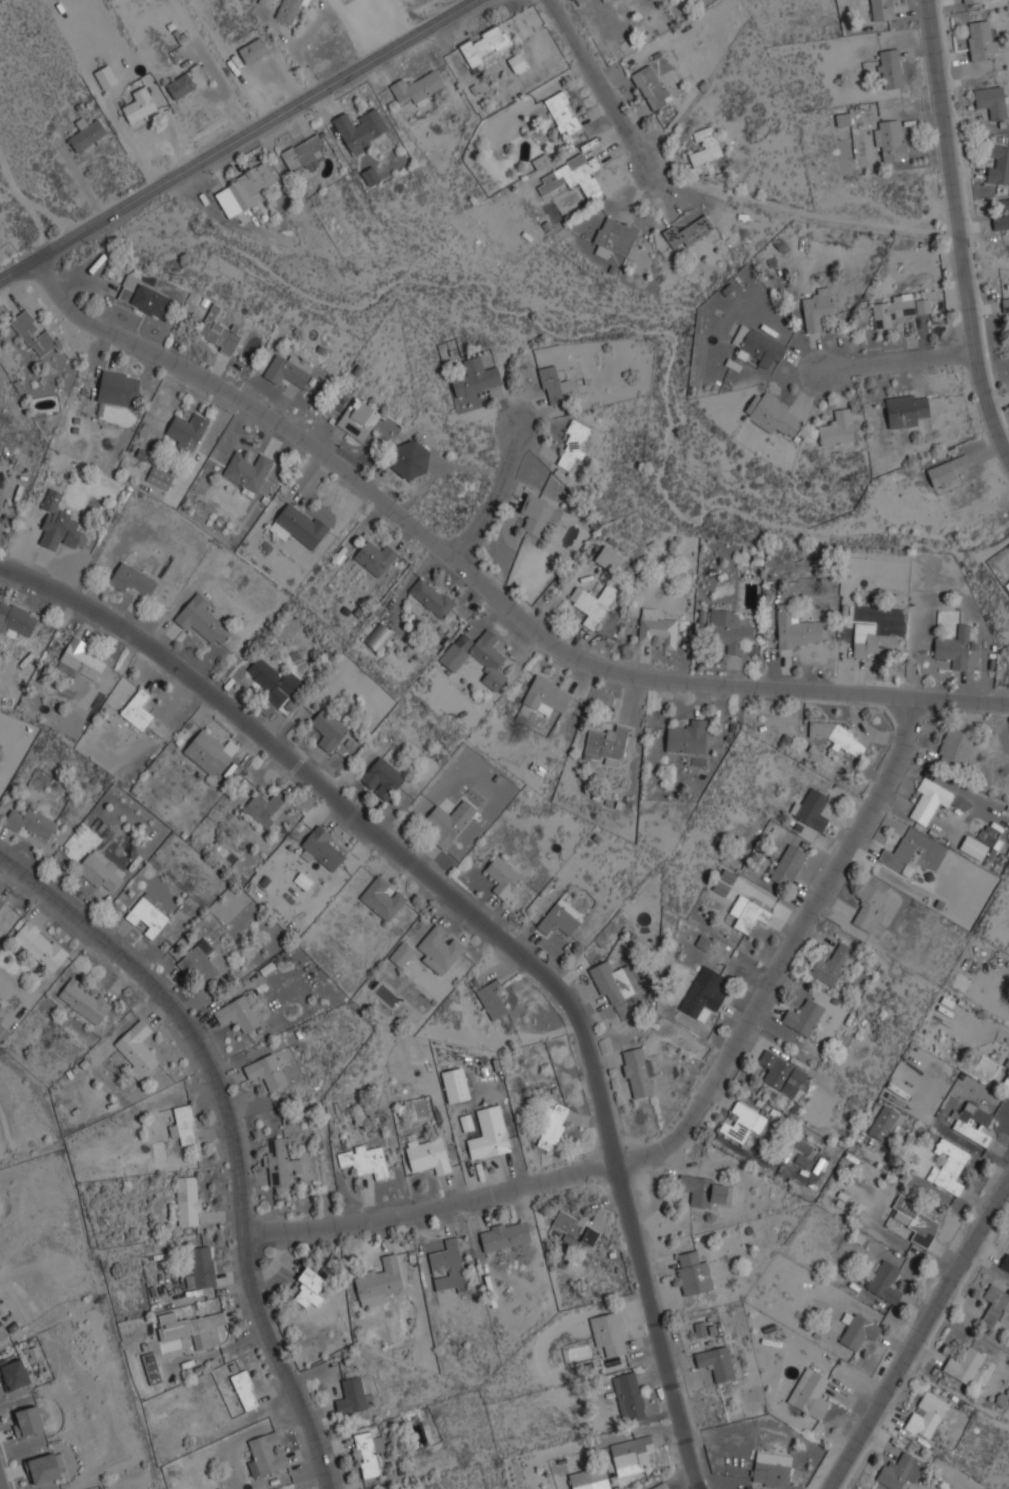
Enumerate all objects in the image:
building: (970, 0)
building: (265, 2)
building: (291, 9)
building: (883, 9)
building: (982, 40)
building: (484, 44)
building: (254, 49)
building: (518, 61)
building: (891, 68)
building: (106, 76)
road: (598, 84)
building: (181, 85)
building: (418, 87)
building: (652, 87)
building: (993, 101)
building: (140, 104)
building: (564, 113)
building: (842, 119)
building: (362, 128)
building: (87, 133)
building: (891, 139)
road: (235, 140)
building: (706, 146)
building: (305, 153)
building: (998, 164)
building: (370, 175)
building: (572, 176)
building: (245, 189)
building: (1002, 217)
building: (689, 231)
road: (956, 233)
building: (617, 237)
building: (145, 297)
building: (1005, 304)
building: (819, 307)
building: (898, 309)
building: (220, 331)
building: (34, 332)
building: (759, 346)
road: (896, 360)
building: (289, 370)
building: (477, 377)
building: (553, 385)
building: (119, 387)
building: (907, 409)
building: (773, 414)
building: (359, 419)
building: (838, 428)
building: (187, 431)
building: (573, 445)
building: (410, 460)
building: (247, 471)
building: (948, 471)
building: (160, 478)
road: (492, 494)
building: (540, 513)
building: (58, 523)
building: (298, 525)
building: (375, 557)
building: (608, 558)
building: (133, 579)
road: (482, 583)
building: (432, 597)
building: (593, 603)
building: (203, 619)
building: (17, 620)
building: (657, 628)
building: (797, 628)
building: (730, 630)
building: (379, 637)
building: (872, 640)
building: (956, 647)
building: (480, 658)
building: (82, 659)
building: (67, 668)
building: (273, 685)
building: (546, 695)
building: (139, 709)
building: (328, 729)
building: (836, 736)
building: (688, 737)
building: (609, 744)
building: (955, 750)
building: (210, 752)
building: (383, 778)
building: (934, 801)
building: (264, 807)
building: (812, 808)
building: (32, 822)
building: (449, 822)
building: (981, 843)
building: (321, 849)
building: (899, 855)
building: (789, 865)
building: (101, 870)
building: (503, 877)
building: (303, 880)
building: (724, 882)
building: (383, 898)
building: (1, 906)
building: (869, 908)
building: (748, 913)
building: (148, 916)
building: (559, 921)
road: (490, 930)
building: (704, 942)
building: (40, 945)
building: (440, 949)
building: (402, 954)
building: (201, 963)
building: (834, 965)
building: (611, 982)
building: (705, 992)
building: (492, 999)
building: (84, 1001)
building: (238, 1013)
building: (804, 1017)
building: (3, 1033)
building: (138, 1047)
building: (1007, 1064)
building: (267, 1071)
building: (639, 1072)
building: (782, 1074)
building: (1006, 1080)
road: (689, 1115)
building: (743, 1122)
building: (885, 1123)
building: (975, 1123)
building: (185, 1125)
building: (554, 1127)
road: (232, 1136)
building: (489, 1144)
building: (429, 1155)
building: (364, 1160)
building: (280, 1161)
building: (950, 1167)
building: (704, 1190)
building: (188, 1200)
building: (916, 1221)
building: (579, 1228)
building: (505, 1235)
building: (1005, 1262)
building: (449, 1266)
building: (202, 1268)
building: (694, 1273)
building: (379, 1281)
building: (885, 1281)
building: (310, 1287)
building: (995, 1305)
building: (1, 1321)
building: (192, 1328)
building: (858, 1330)
building: (610, 1333)
road: (919, 1335)
building: (717, 1362)
building: (965, 1365)
building: (153, 1368)
building: (13, 1373)
building: (246, 1390)
building: (810, 1393)
building: (632, 1395)
building: (353, 1396)
building: (927, 1415)
building: (27, 1421)
building: (367, 1454)
building: (264, 1456)
building: (631, 1457)
building: (43, 1468)
building: (772, 1469)
building: (900, 1471)
building: (581, 1480)
building: (662, 1486)

